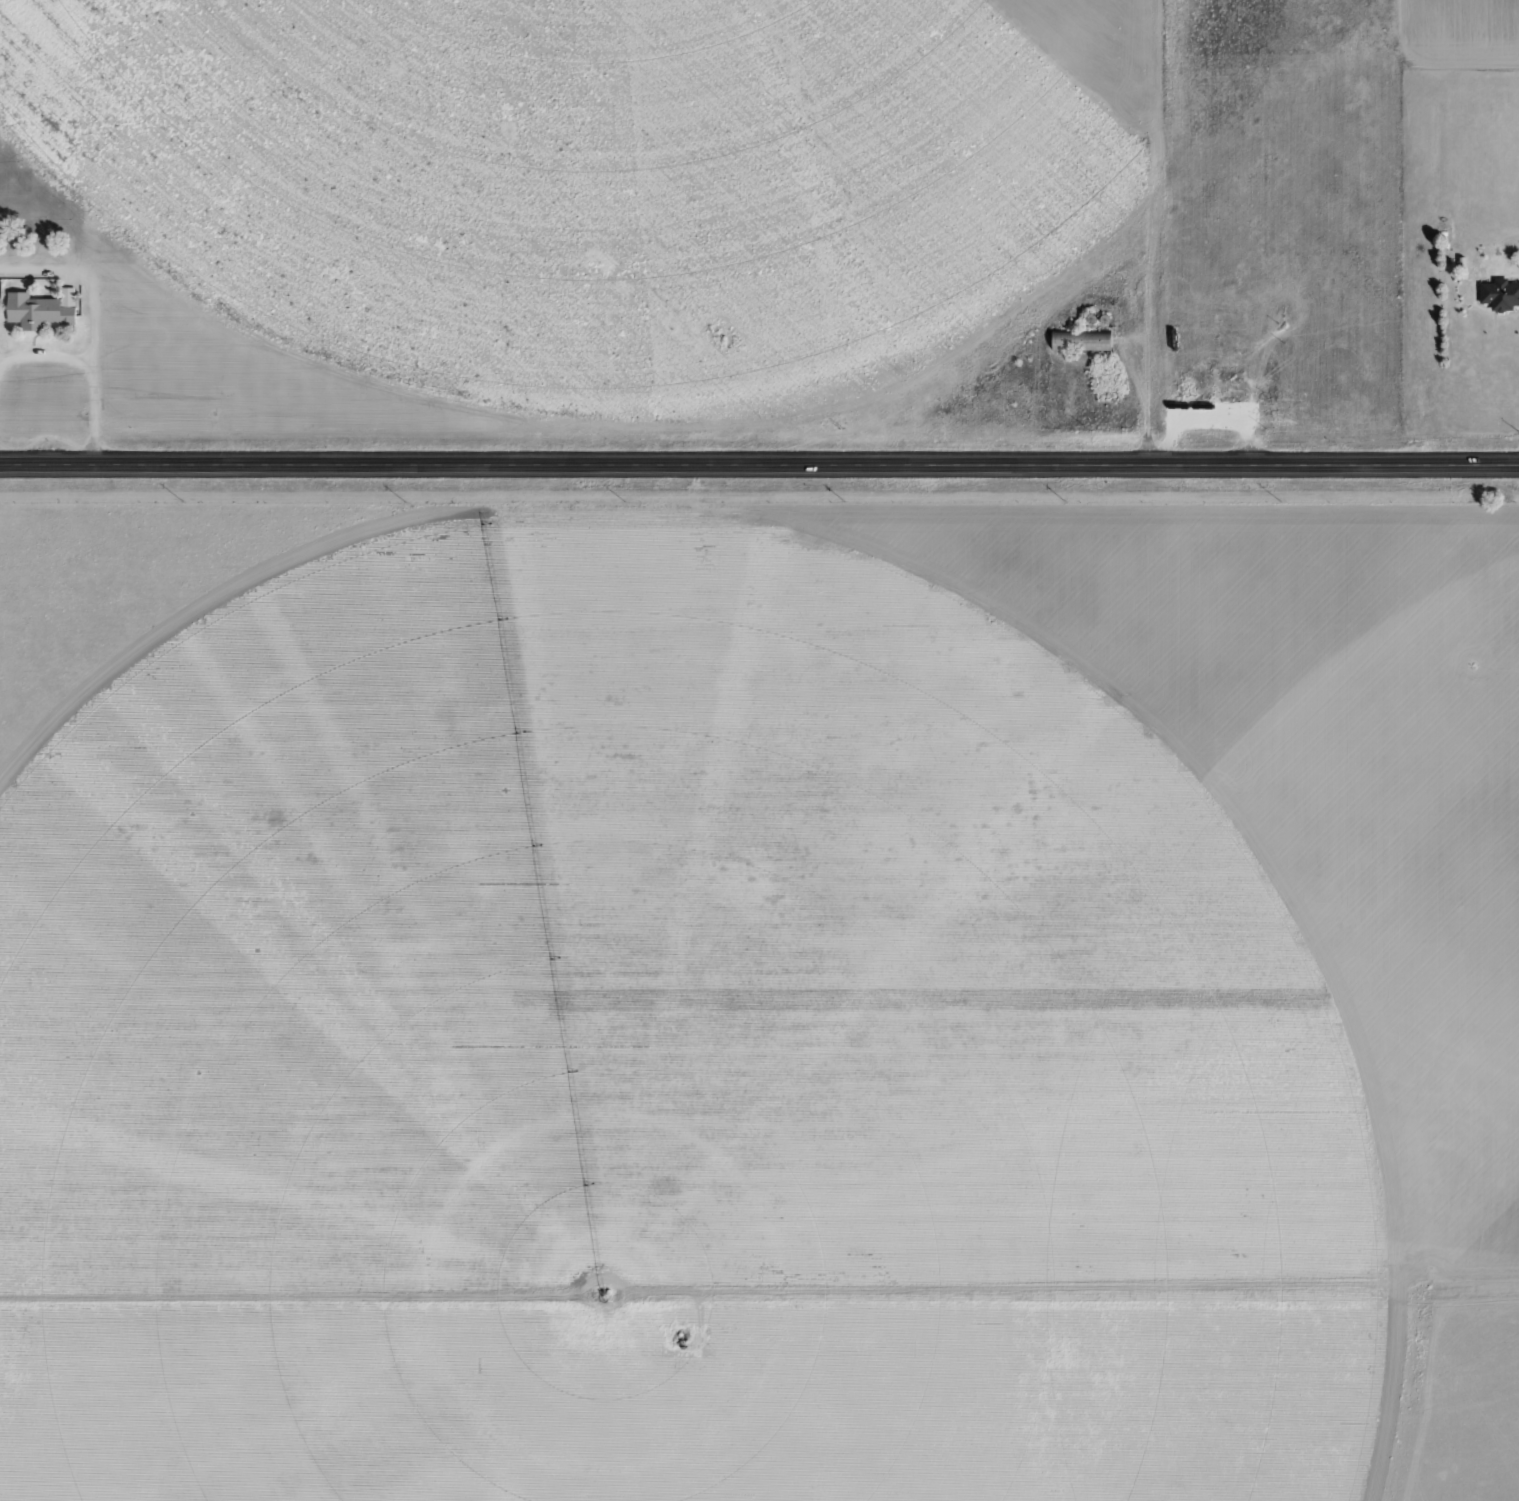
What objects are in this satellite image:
building: (42, 310)
road: (96, 322)
road: (759, 462)

